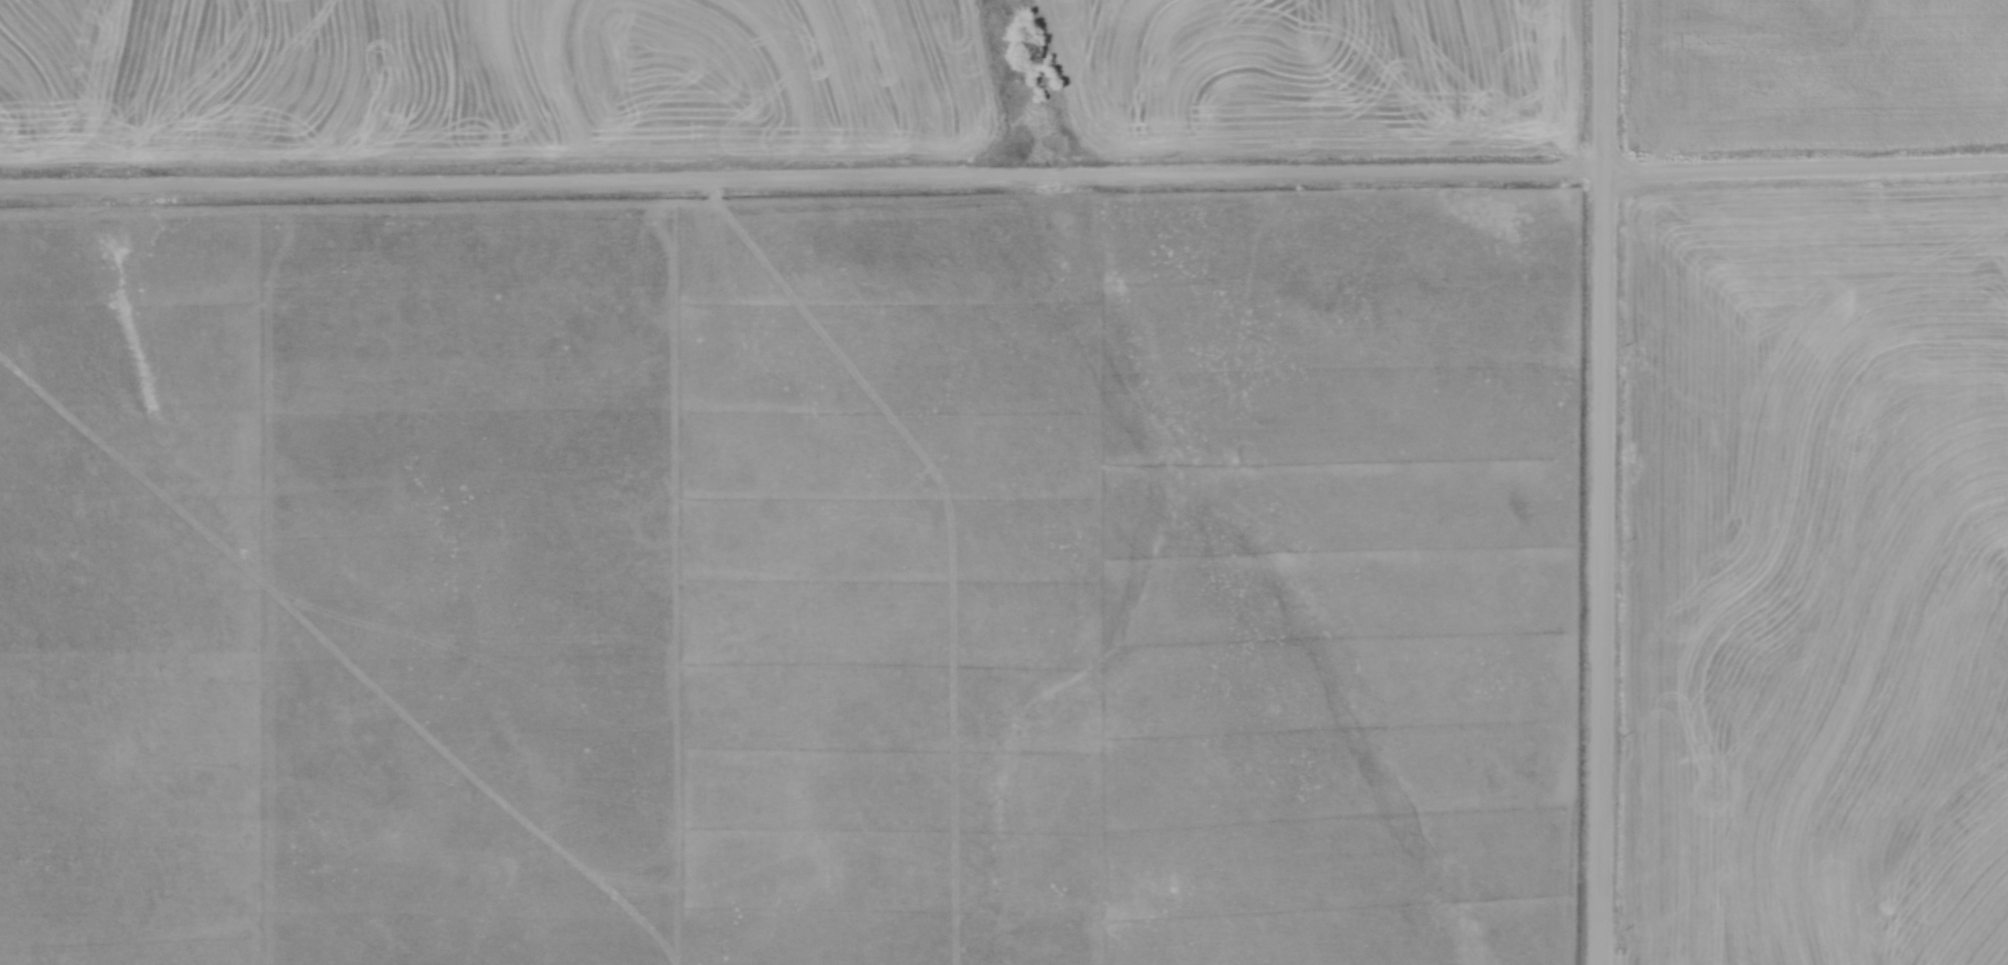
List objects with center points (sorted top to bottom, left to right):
road: (1807, 168)
road: (803, 180)
road: (1607, 482)

